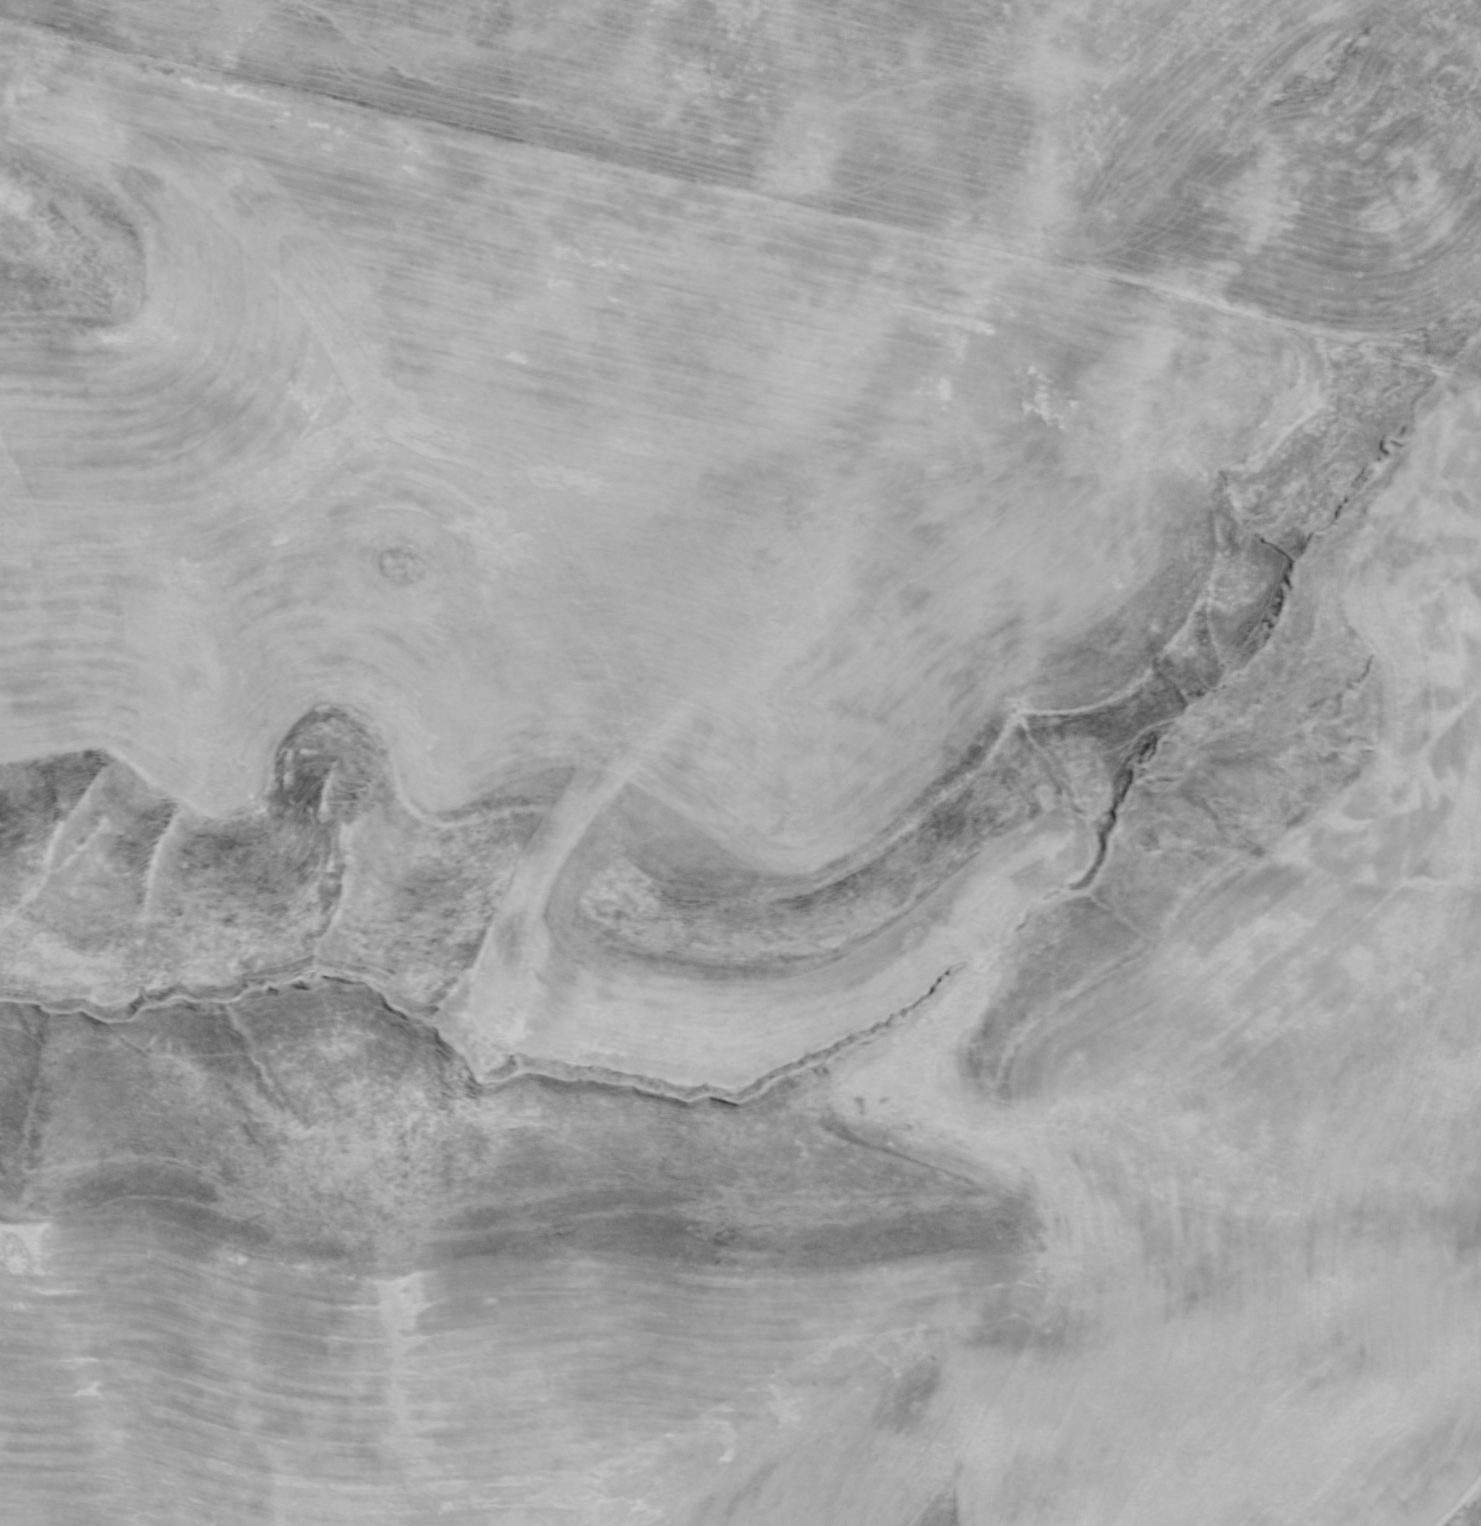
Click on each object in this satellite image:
road: (1456, 1498)

